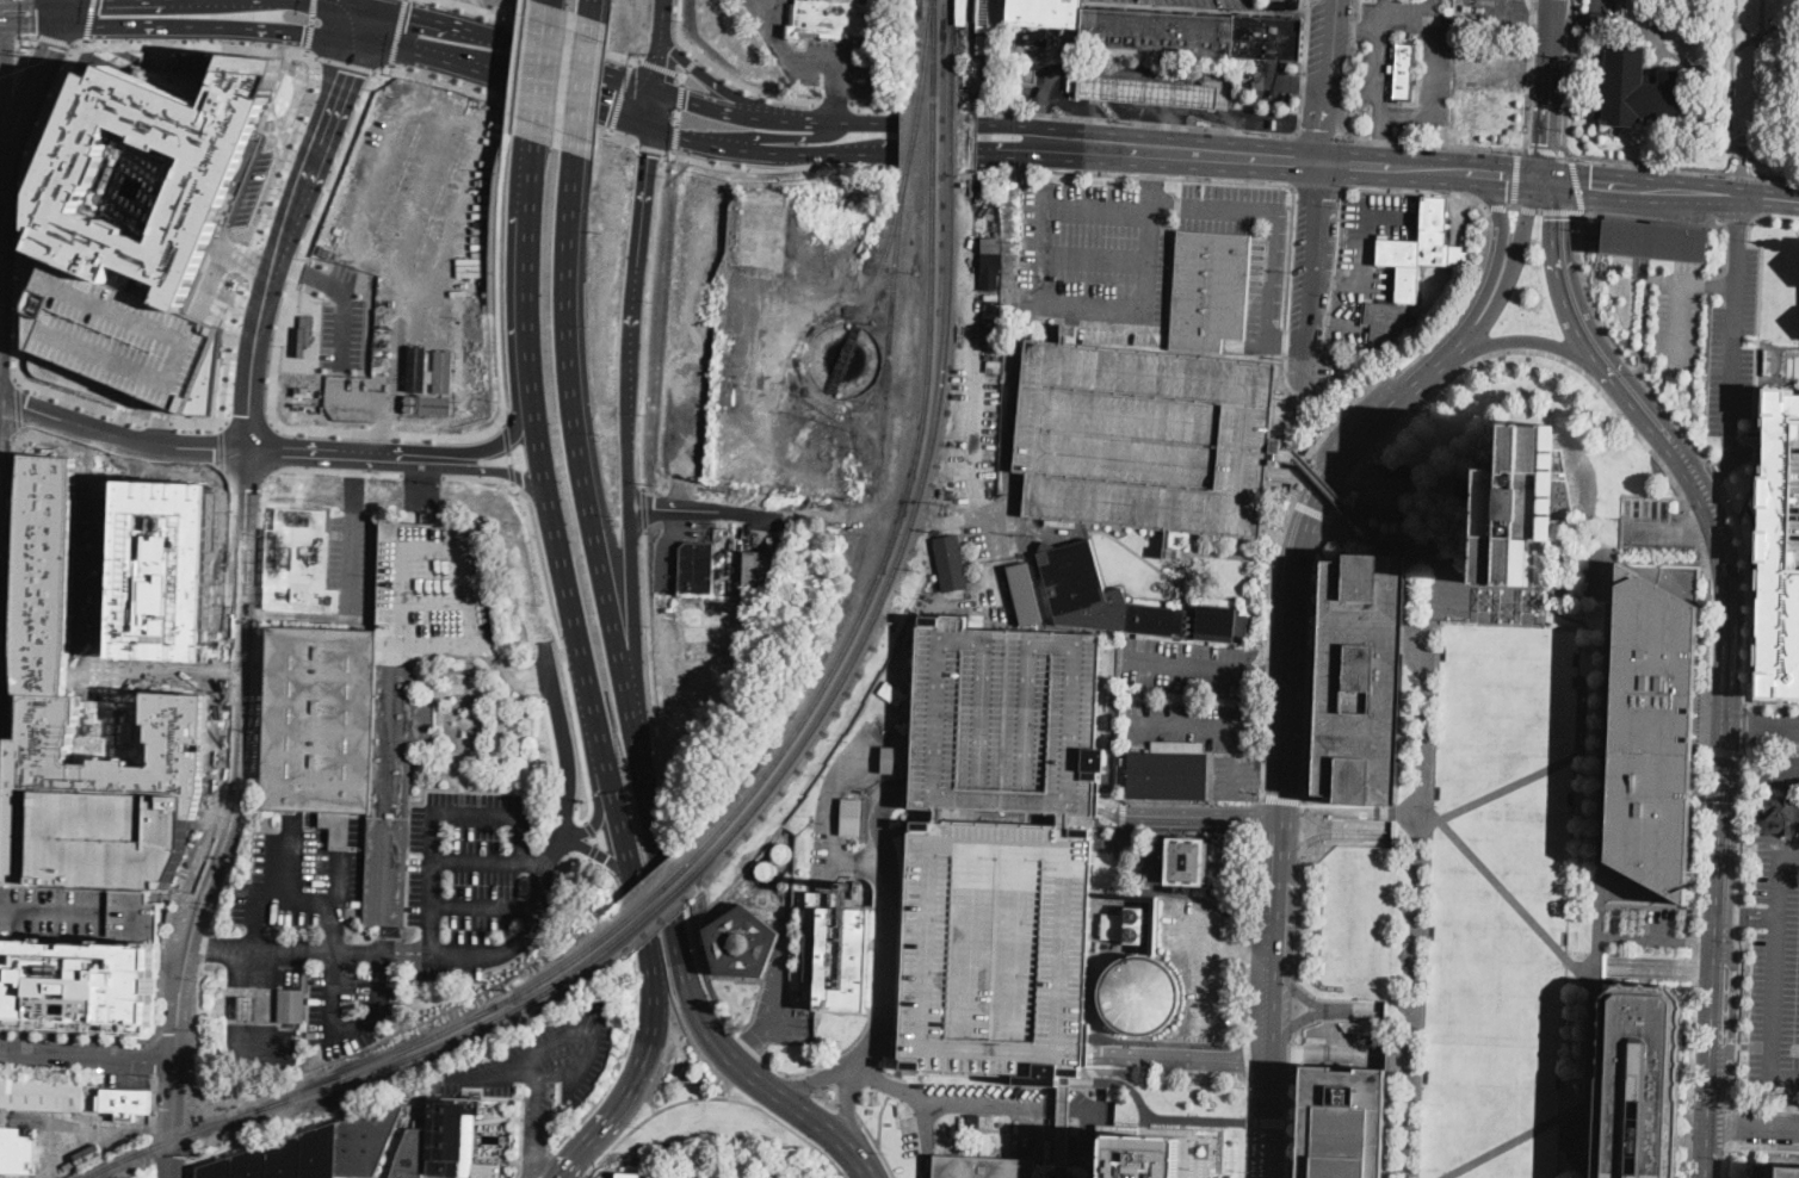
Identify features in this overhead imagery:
road: (359, 1)
parking lot: (1207, 2)
road: (66, 5)
road: (76, 5)
road: (592, 7)
parking lot: (765, 8)
railway: (921, 8)
building: (1451, 8)
road: (33, 12)
traffic signals: (36, 12)
building: (962, 12)
road: (1, 13)
parking lot: (1496, 13)
road: (1496, 13)
traffic signals: (410, 14)
road: (1539, 14)
building: (984, 15)
road: (1579, 15)
road: (42, 17)
road: (87, 19)
building: (832, 19)
road: (310, 24)
road: (538, 29)
building: (1155, 29)
traffic signals: (304, 33)
road: (8, 35)
road: (26, 35)
road: (395, 35)
parking lot: (1313, 36)
road: (495, 37)
road: (54, 39)
road: (193, 41)
railway: (927, 41)
railway: (934, 41)
railway: (952, 41)
building: (984, 43)
traffic signals: (51, 48)
road: (163, 55)
road: (659, 55)
road: (351, 62)
road: (691, 62)
road: (806, 63)
road: (519, 66)
road: (656, 66)
parking lot: (1489, 66)
road: (1492, 66)
road: (1302, 67)
road: (536, 68)
parking lot: (830, 68)
road: (1537, 68)
road: (1350, 69)
traffic signals: (346, 72)
building: (1402, 72)
road: (1528, 74)
building: (1030, 75)
road: (703, 76)
road: (1569, 76)
road: (1279, 81)
building: (1074, 82)
parking lot: (1274, 82)
road: (583, 83)
road: (1311, 83)
road: (1325, 83)
road: (31, 89)
building: (1148, 89)
building: (1637, 89)
road: (1547, 91)
road: (1, 92)
road: (619, 93)
road: (561, 97)
road: (513, 99)
traffic signals: (687, 101)
road: (962, 110)
road: (719, 111)
traffic signals: (608, 112)
road: (678, 112)
road: (812, 120)
road: (951, 122)
railway: (915, 128)
railway: (933, 130)
railway: (952, 130)
road: (1323, 136)
road: (789, 137)
road: (1438, 143)
traffic signals: (1545, 143)
road: (651, 147)
road: (1546, 150)
road: (379, 157)
traffic signals: (649, 157)
road: (1263, 162)
road: (901, 163)
road: (1683, 166)
road: (1150, 170)
road: (1150, 176)
road: (1515, 176)
road: (1506, 179)
road: (1228, 180)
traffic signals: (1508, 180)
road: (1577, 181)
building: (206, 182)
traffic signals: (1590, 186)
road: (1317, 187)
road: (1670, 192)
road: (1498, 206)
road: (1550, 210)
road: (1655, 216)
traffic signals: (1557, 217)
road: (641, 218)
road: (1500, 218)
road: (1733, 218)
road: (1274, 219)
road: (289, 223)
building: (764, 227)
road: (1523, 228)
building: (1656, 241)
road: (1581, 244)
railway: (886, 249)
road: (4, 252)
building: (1422, 252)
parking lot: (1093, 253)
road: (241, 255)
road: (1288, 256)
parking lot: (1368, 258)
road: (1094, 259)
road: (23, 260)
road: (1367, 260)
parking lot: (1299, 265)
parking lot: (1327, 267)
building: (991, 269)
road: (1760, 271)
road: (521, 272)
road: (1312, 275)
road: (501, 277)
road: (1563, 279)
parking lot: (1267, 286)
road: (1334, 286)
building: (1211, 292)
road: (1683, 297)
road: (1052, 303)
road: (1479, 314)
road: (649, 317)
road: (1331, 318)
building: (1386, 323)
road: (1733, 328)
parking lot: (1713, 331)
building: (120, 340)
parking garage: (120, 340)
railway: (890, 340)
road: (1293, 340)
road: (1531, 340)
road: (1613, 345)
road: (1778, 346)
railway: (883, 361)
building: (416, 367)
building: (995, 367)
parking lot: (1321, 367)
road: (1776, 370)
road: (10, 378)
road: (1293, 379)
building: (435, 387)
road: (1347, 409)
road: (125, 410)
road: (1290, 413)
road: (159, 420)
road: (1754, 424)
road: (629, 426)
parking lot: (978, 430)
road: (123, 433)
building: (1148, 438)
parking lot: (1148, 438)
road: (1354, 438)
road: (1758, 439)
road: (496, 440)
road: (1758, 451)
road: (334, 453)
road: (511, 453)
road: (433, 457)
road: (1657, 458)
road: (1730, 461)
road: (501, 467)
road: (1714, 473)
road: (1750, 491)
building: (950, 494)
building: (1794, 495)
parking garage: (1794, 495)
road: (1336, 497)
building: (1517, 506)
road: (643, 507)
building: (946, 508)
road: (1310, 508)
road: (591, 509)
road: (712, 509)
road: (352, 532)
railway: (892, 539)
road: (1383, 541)
railway: (903, 545)
building: (54, 546)
building: (1174, 552)
road: (1206, 553)
building: (1779, 554)
road: (1137, 556)
building: (299, 563)
building: (951, 563)
parking lot: (356, 564)
building: (696, 566)
building: (165, 570)
building: (762, 571)
building: (935, 578)
building: (434, 588)
parking garage: (434, 588)
road: (1750, 593)
building: (1026, 594)
building: (1125, 603)
road: (6, 608)
road: (632, 627)
road: (1191, 664)
road: (1273, 674)
building: (1362, 680)
road: (119, 687)
road: (589, 693)
parking lot: (1188, 693)
building: (892, 694)
road: (564, 695)
road: (1773, 706)
building: (1013, 719)
parking lot: (1013, 719)
road: (1189, 723)
road: (1271, 724)
road: (1745, 726)
road: (1762, 726)
building: (902, 727)
road: (1725, 727)
building: (1655, 734)
building: (82, 742)
road: (567, 744)
building: (346, 745)
road: (216, 746)
road: (1772, 748)
road: (1724, 751)
road: (237, 761)
building: (896, 761)
road: (1779, 769)
parking lot: (1776, 770)
building: (1170, 771)
road: (1260, 771)
parking lot: (1235, 775)
road: (1235, 777)
road: (1509, 787)
road: (667, 788)
road: (1280, 798)
traffic signals: (1723, 800)
road: (476, 805)
road: (1282, 806)
road: (1418, 808)
building: (851, 814)
road: (1192, 814)
road: (1259, 814)
road: (1596, 817)
building: (1781, 818)
road: (600, 819)
road: (1331, 823)
road: (1300, 827)
road: (1330, 832)
building: (107, 836)
parking garage: (107, 836)
road: (567, 837)
road: (605, 856)
building: (1187, 862)
road: (536, 863)
parking lot: (470, 867)
road: (1779, 873)
road: (335, 874)
parking lot: (299, 880)
building: (858, 889)
road: (1504, 892)
road: (302, 895)
road: (255, 898)
railway: (651, 898)
parking lot: (1496, 903)
railway: (657, 906)
road: (484, 910)
road: (1733, 913)
road: (1763, 914)
road: (1297, 917)
road: (673, 919)
road: (889, 922)
building: (1113, 925)
road: (1210, 925)
road: (1736, 925)
road: (1248, 934)
road: (255, 936)
building: (742, 943)
building: (1003, 947)
parking lot: (1003, 947)
road: (1259, 947)
road: (412, 953)
building: (835, 955)
building: (78, 956)
parking garage: (78, 956)
parking lot: (412, 957)
parking lot: (1205, 963)
road: (1662, 966)
road: (1212, 971)
parking lot: (1773, 972)
road: (778, 974)
parking lot: (779, 981)
road: (1298, 988)
building: (1143, 993)
road: (1293, 1005)
building: (247, 1006)
building: (291, 1006)
parking lot: (352, 1007)
road: (1774, 1009)
road: (1355, 1010)
road: (1294, 1023)
railway: (455, 1024)
road: (348, 1030)
road: (76, 1034)
road: (630, 1036)
road: (552, 1044)
parking lot: (565, 1044)
road: (746, 1046)
road: (748, 1047)
road: (835, 1054)
road: (1183, 1058)
road: (87, 1059)
road: (1247, 1060)
road: (579, 1062)
road: (774, 1065)
road: (898, 1066)
railway: (350, 1079)
road: (494, 1080)
road: (817, 1081)
road: (799, 1084)
building: (1639, 1084)
road: (892, 1085)
road: (767, 1086)
road: (630, 1087)
road: (1708, 1095)
road: (715, 1099)
road: (948, 1099)
road: (824, 1100)
road: (1797, 1102)
road: (1764, 1103)
road: (847, 1104)
road: (1288, 1105)
building: (490, 1108)
road: (560, 1112)
road: (847, 1112)
road: (879, 1118)
road: (926, 1118)
road: (1268, 1118)
road: (171, 1120)
parking lot: (1093, 1121)
road: (1267, 1122)
road: (536, 1123)
building: (979, 1123)
building: (1343, 1123)
road: (1730, 1123)
road: (1021, 1124)
road: (1752, 1127)
building: (11, 1128)
road: (537, 1129)
road: (1245, 1129)
road: (1063, 1131)
building: (449, 1133)
road: (1513, 1139)
road: (877, 1146)
road: (1763, 1146)
road: (519, 1147)
building: (319, 1151)
road: (1707, 1151)
building: (410, 1155)
building: (89, 1157)
building: (1144, 1157)
road: (1786, 1159)
road: (1726, 1161)
road: (548, 1166)
building: (984, 1167)
road: (1772, 1168)
building: (1788, 1172)
building: (629, 1174)

